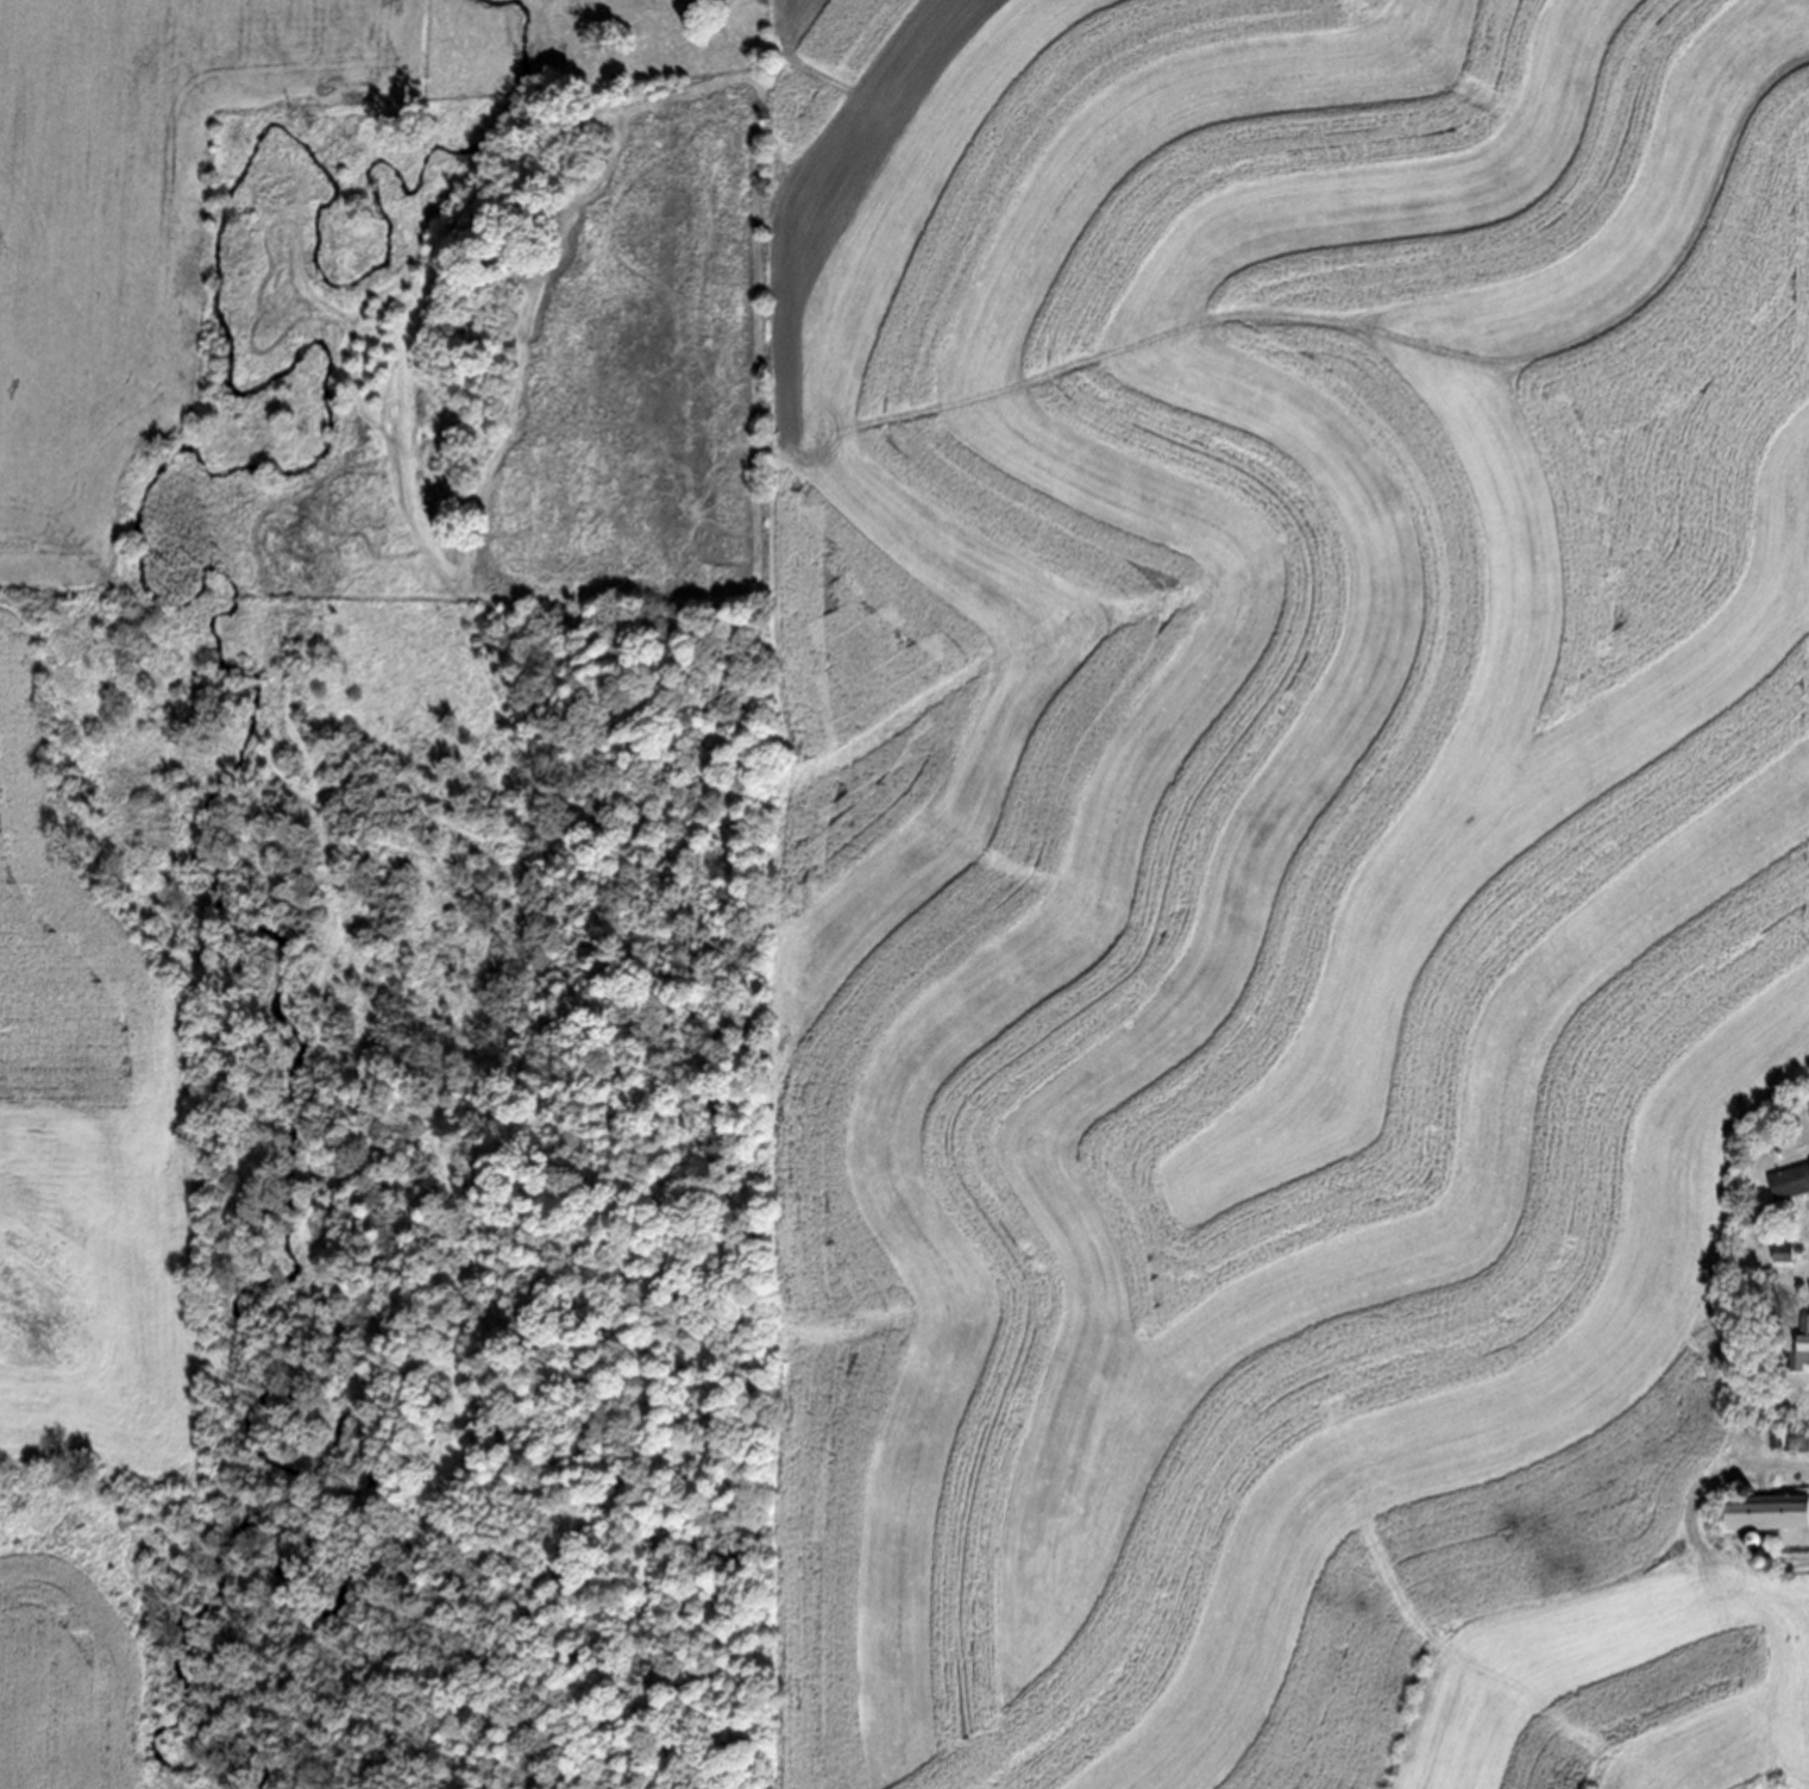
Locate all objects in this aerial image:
road: (1367, 320)
building: (1789, 1178)
building: (1784, 1250)
building: (1802, 1342)
building: (1778, 1436)
building: (1791, 1437)
building: (1804, 1437)
road: (1707, 1480)
building: (1767, 1508)

